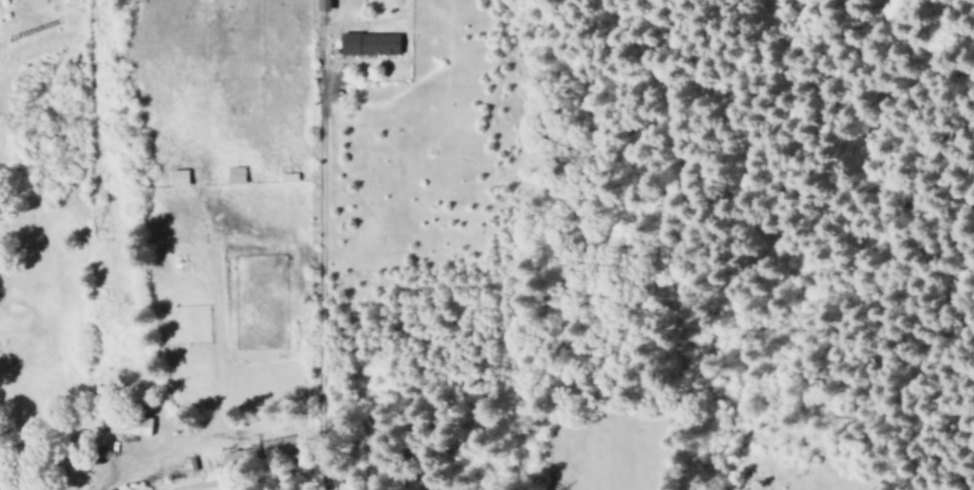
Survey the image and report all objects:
building: (368, 43)
building: (233, 174)
building: (177, 177)
road: (70, 464)

